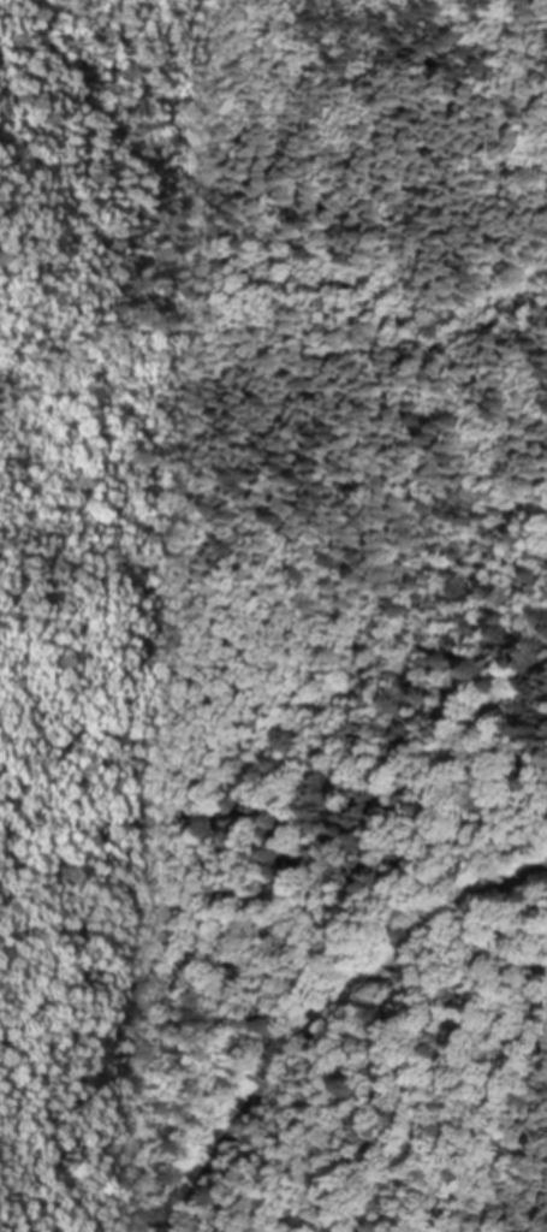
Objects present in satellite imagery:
road: (332, 1020)

